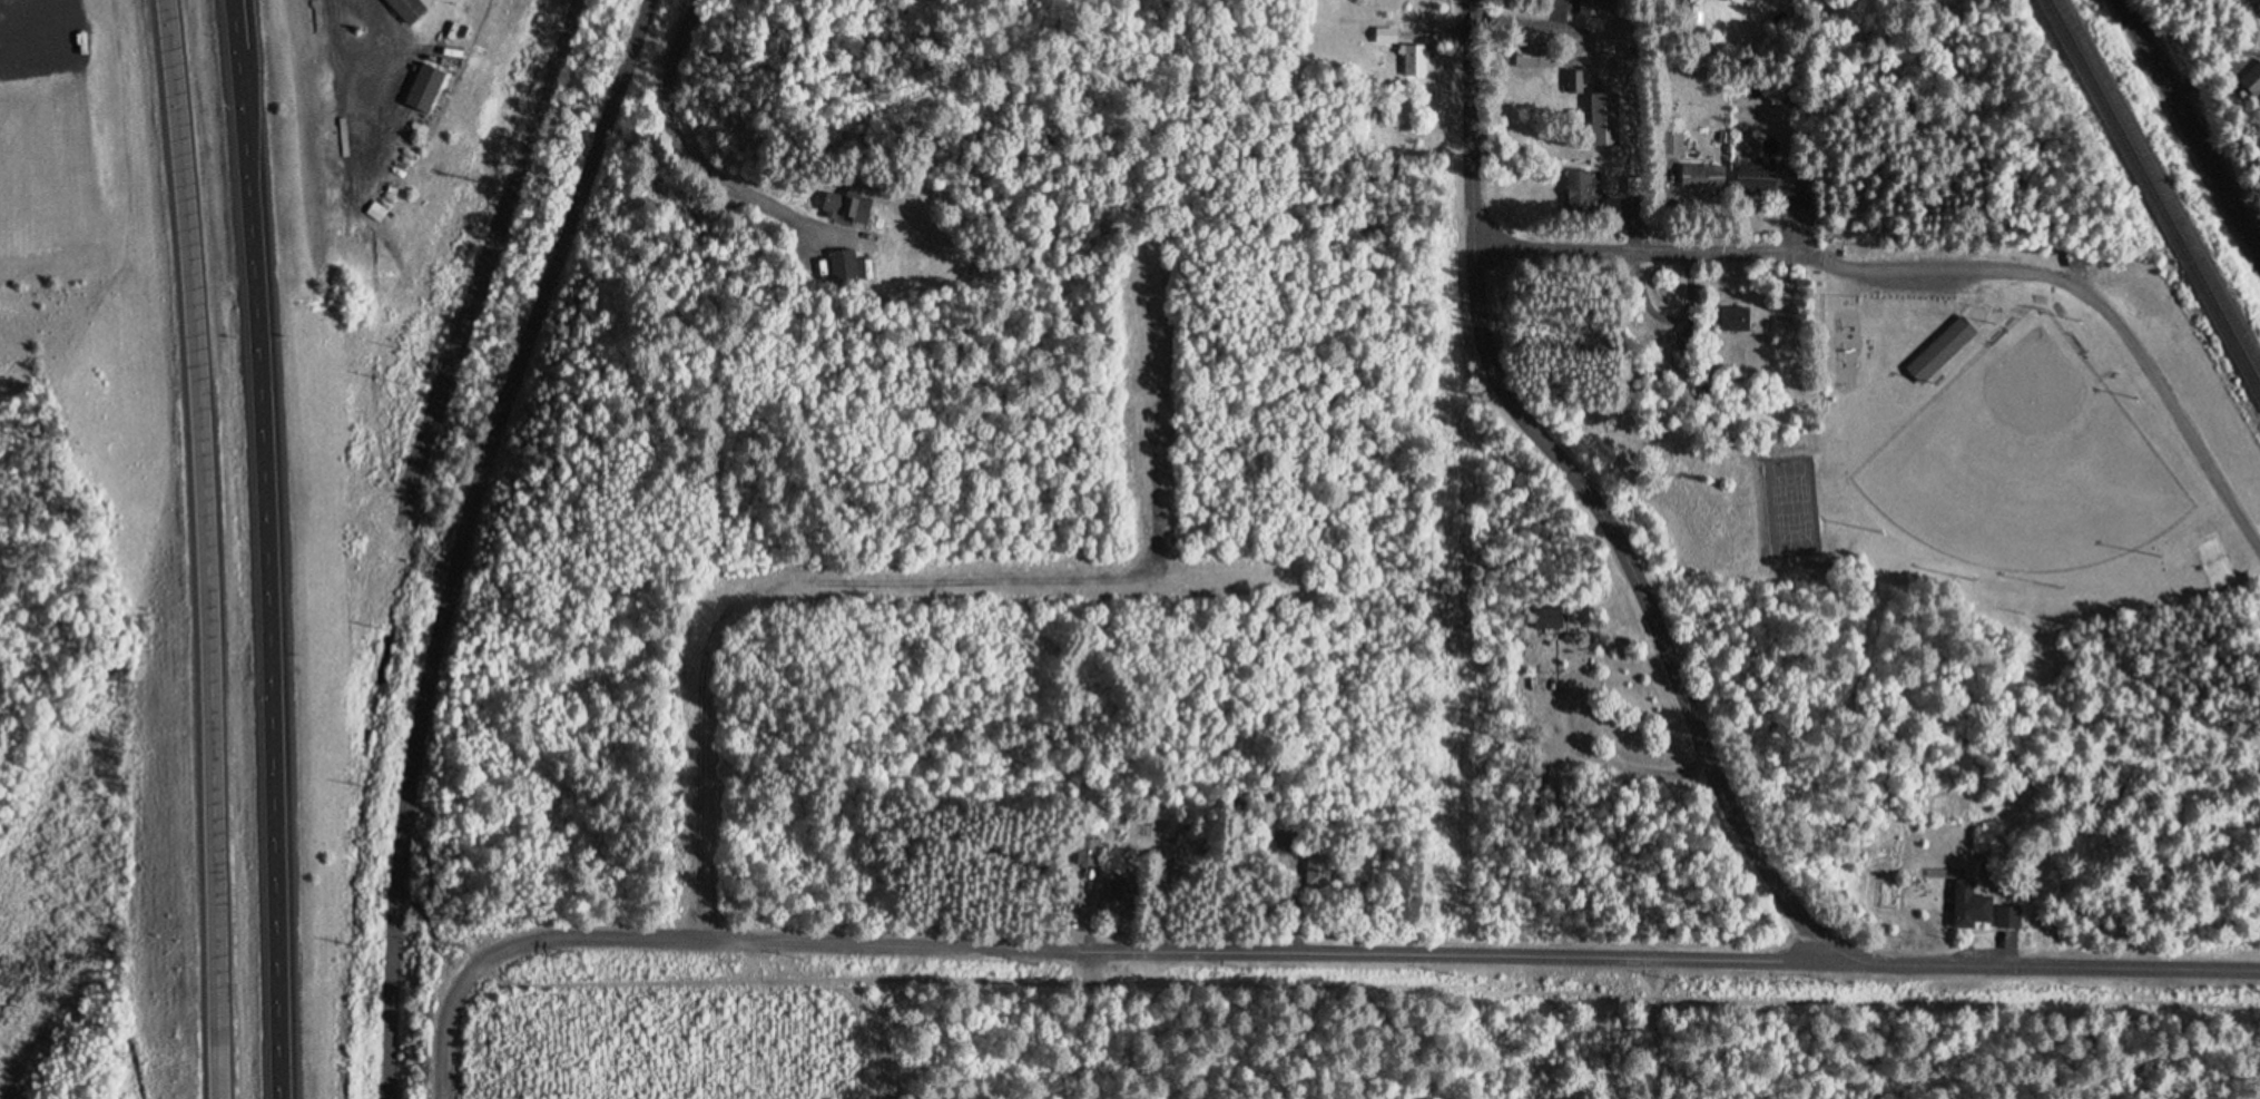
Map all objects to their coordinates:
building: (409, 6)
building: (1589, 8)
road: (352, 16)
road: (1526, 27)
building: (1386, 36)
building: (1537, 56)
building: (1414, 61)
building: (1627, 66)
building: (2253, 78)
building: (1574, 82)
building: (432, 86)
building: (1604, 119)
road: (2192, 121)
road: (688, 137)
building: (1704, 177)
building: (1772, 178)
railway: (2160, 181)
building: (1633, 187)
building: (1582, 193)
railway: (2154, 193)
building: (849, 204)
road: (485, 254)
building: (827, 258)
road: (1936, 269)
road: (373, 316)
building: (1736, 320)
building: (1682, 340)
building: (1940, 352)
road: (1151, 431)
park: (2026, 463)
park: (1978, 480)
road: (459, 537)
road: (205, 548)
road: (265, 548)
road: (823, 585)
building: (1551, 619)
road: (1679, 683)
building: (1283, 844)
building: (1091, 853)
building: (1319, 871)
building: (1116, 897)
building: (1969, 899)
building: (2011, 910)
road: (780, 942)
road: (1453, 954)
road: (1274, 983)
road: (442, 1018)

